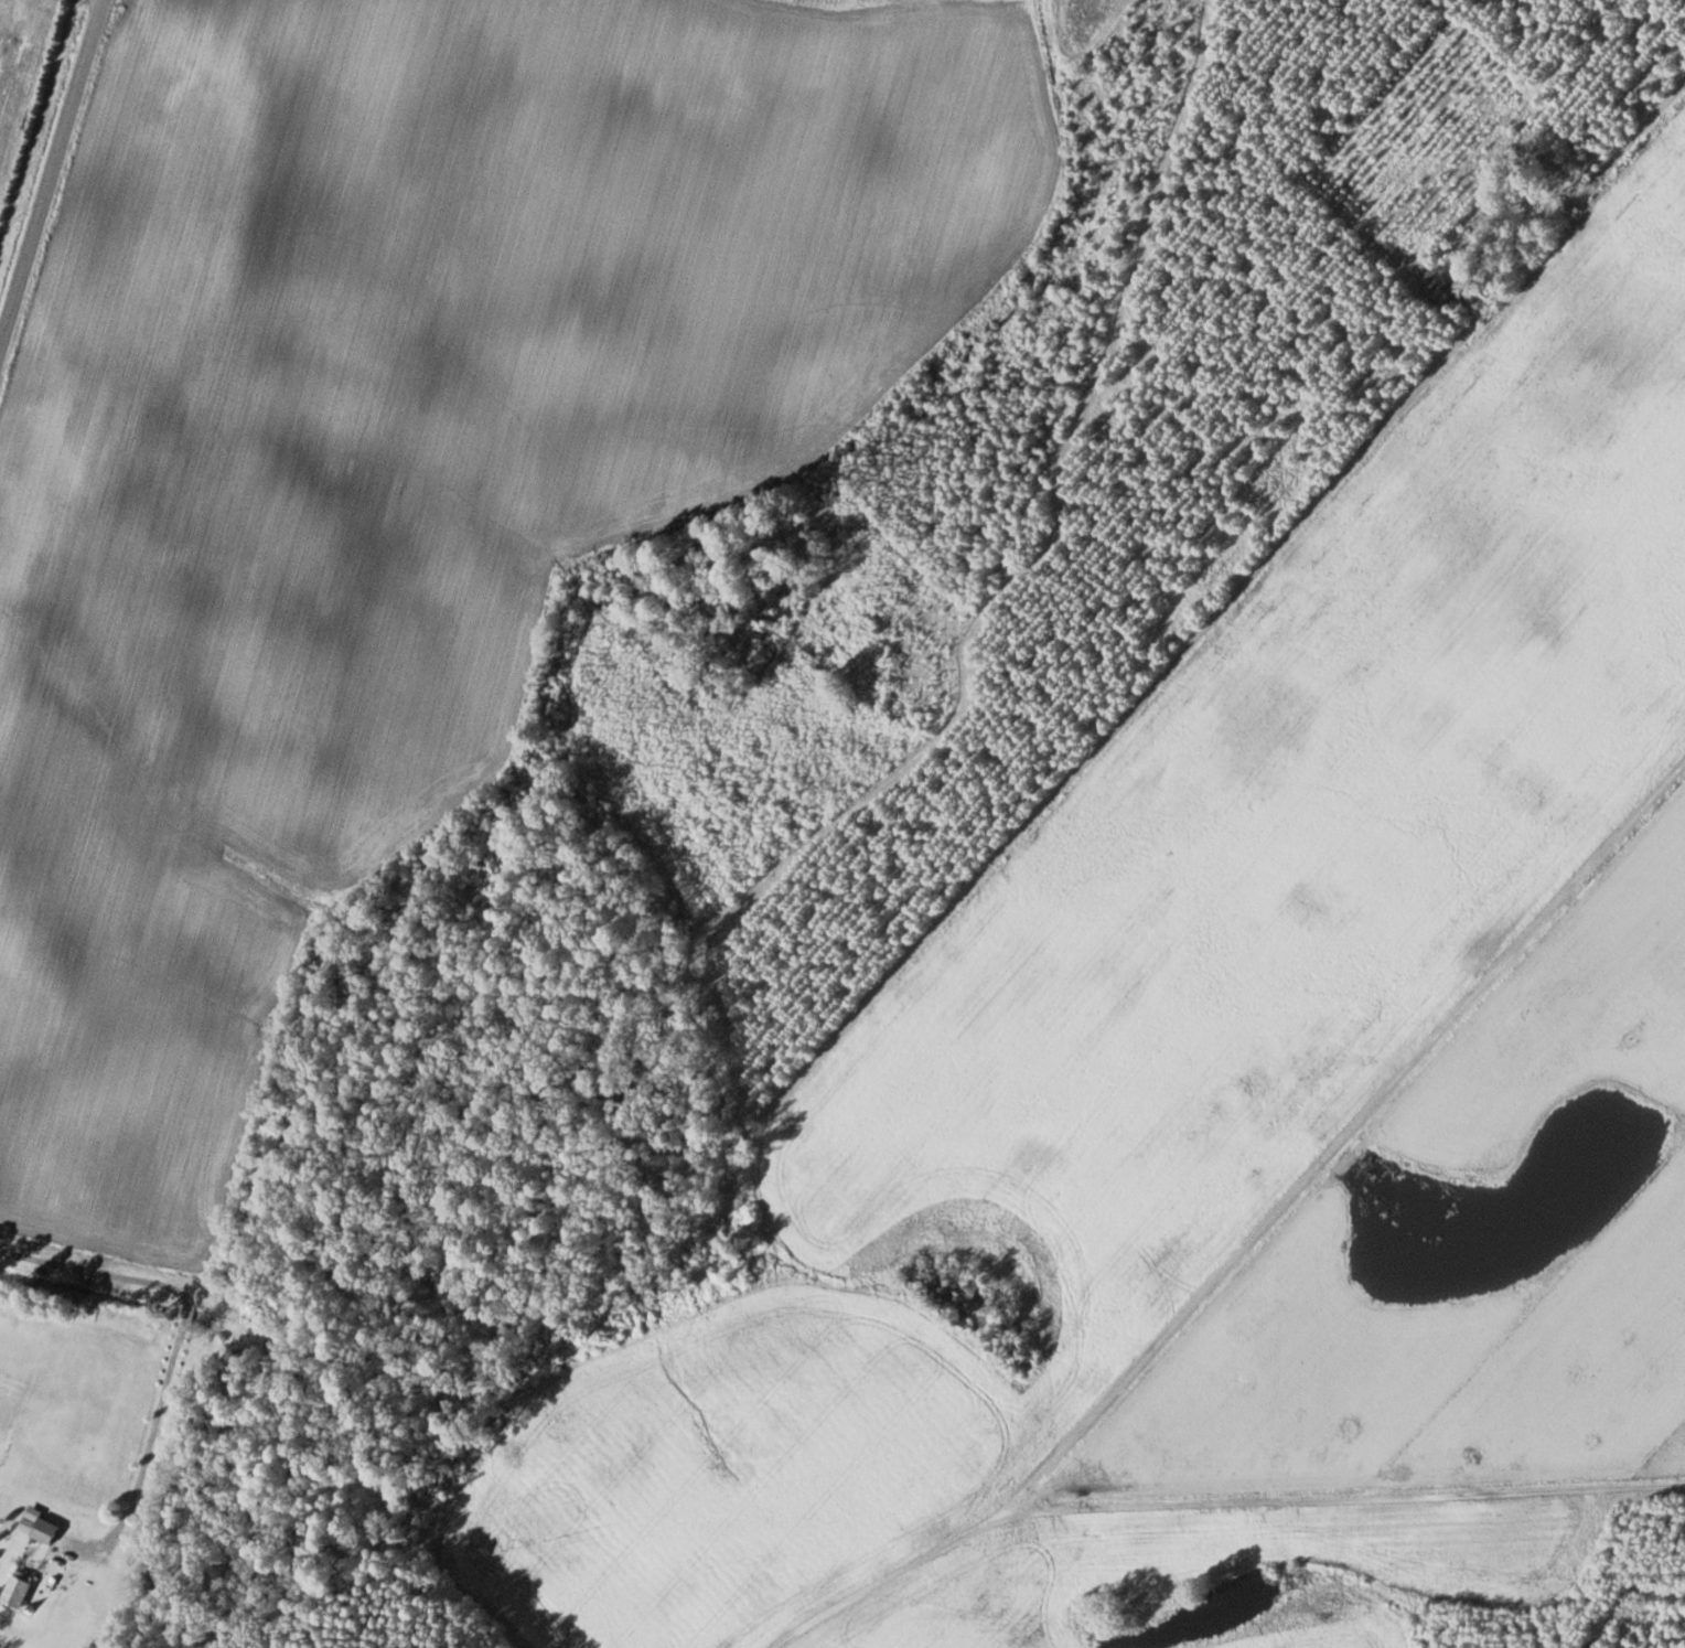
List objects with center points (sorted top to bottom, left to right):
road: (448, 92)
road: (55, 185)
road: (85, 1266)
road: (1210, 1494)
building: (39, 1529)
building: (15, 1590)

